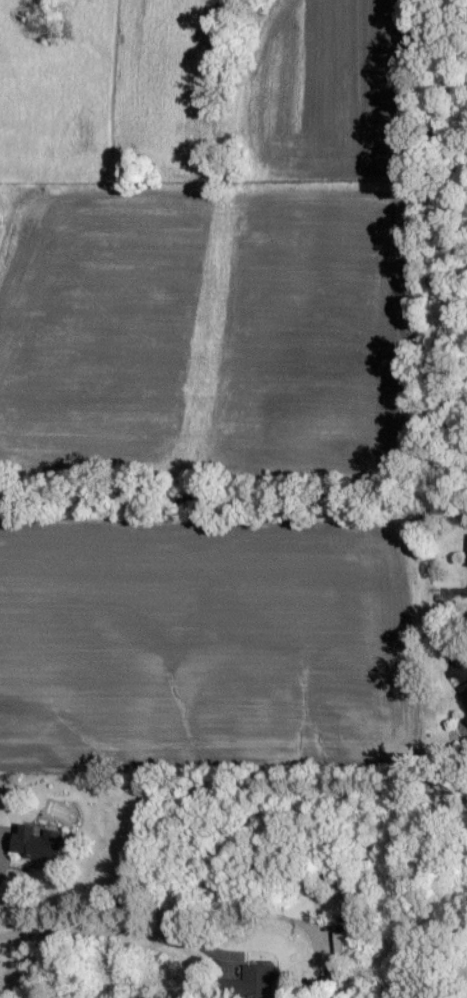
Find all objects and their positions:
road: (438, 625)
building: (464, 692)
building: (41, 843)
road: (0, 860)
road: (106, 926)
building: (346, 947)
building: (256, 983)

